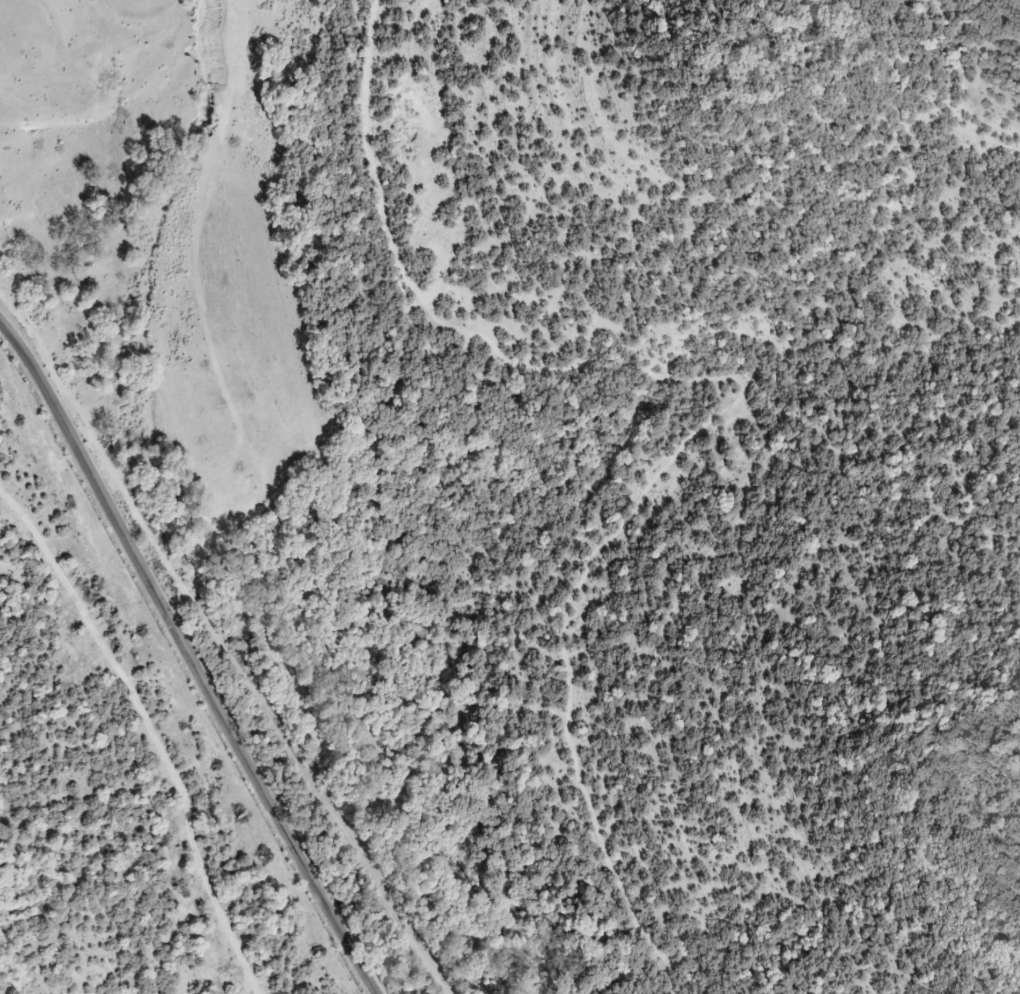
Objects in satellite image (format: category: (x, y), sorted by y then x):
road: (189, 656)

